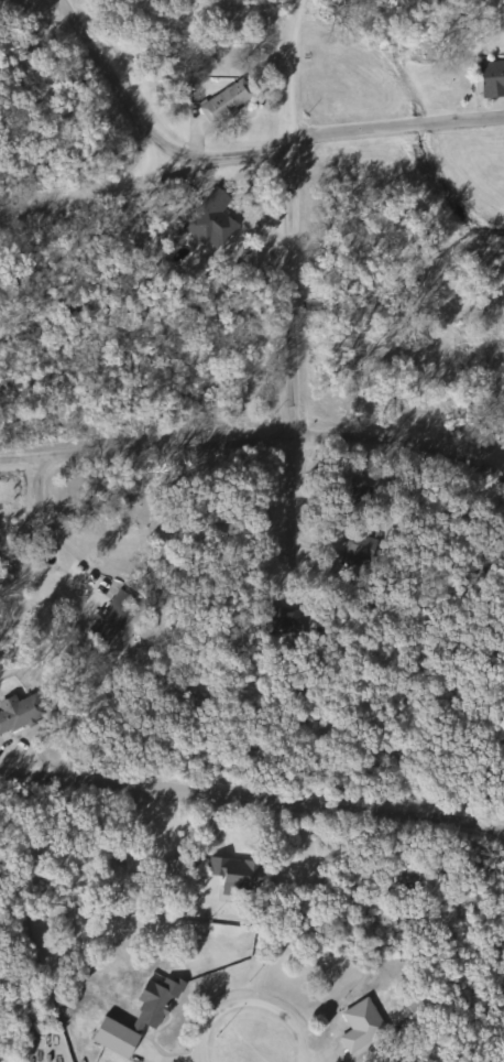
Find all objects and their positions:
building: (490, 78)
road: (119, 82)
building: (222, 104)
road: (390, 126)
road: (228, 160)
road: (83, 194)
building: (209, 220)
building: (174, 234)
road: (294, 364)
road: (254, 442)
building: (344, 490)
road: (440, 533)
road: (47, 537)
building: (357, 544)
building: (107, 618)
building: (17, 712)
road: (252, 795)
building: (229, 869)
building: (167, 873)
road: (255, 999)
building: (132, 1018)
building: (358, 1025)

